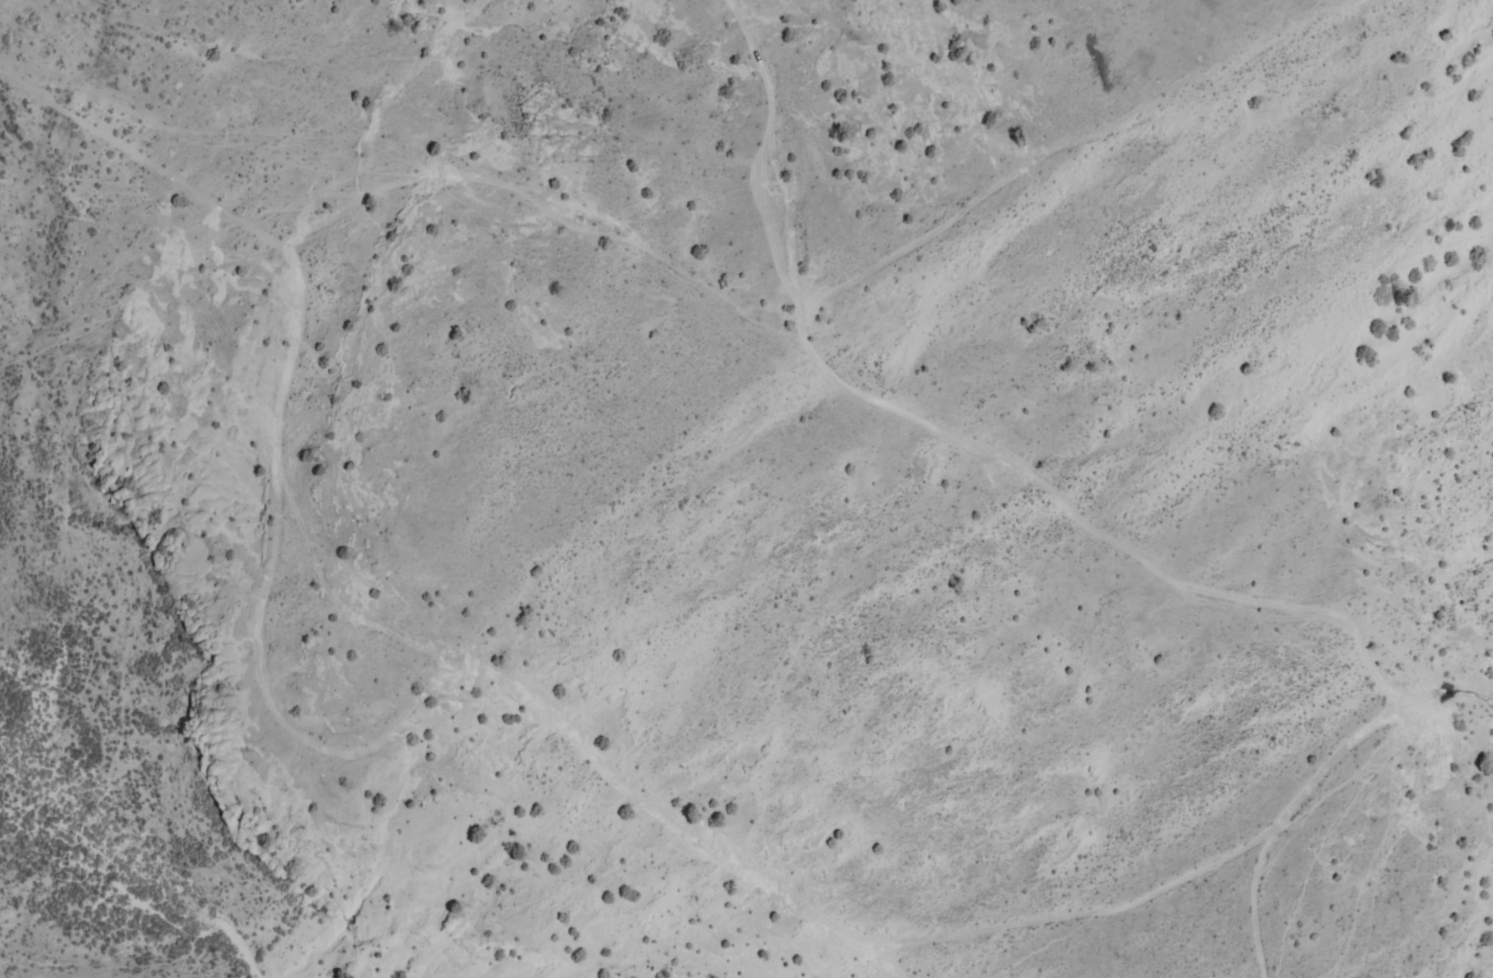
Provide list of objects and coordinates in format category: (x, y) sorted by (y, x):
road: (1345, 426)

